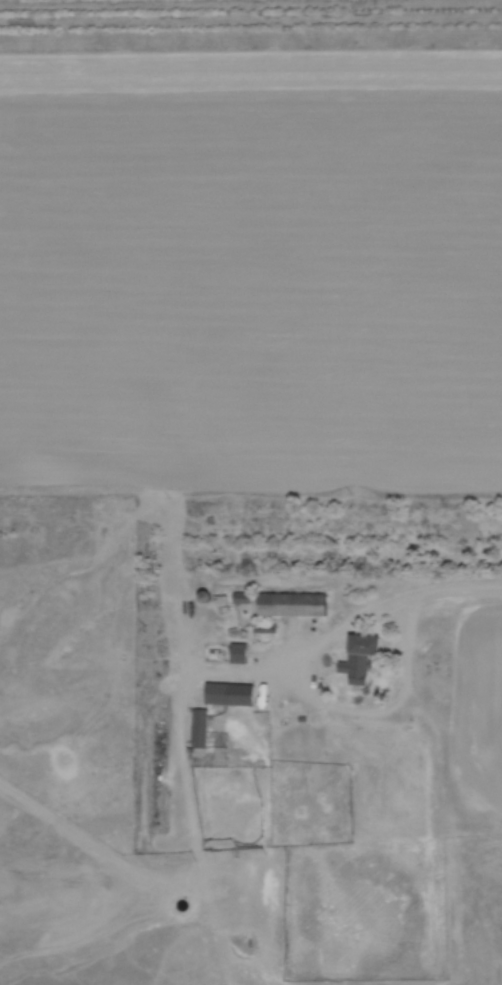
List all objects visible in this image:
crop: (252, 264)
building: (199, 595)
silo: (199, 595)
building: (239, 596)
building: (288, 603)
road: (382, 605)
building: (261, 626)
road: (401, 631)
building: (235, 652)
building: (354, 656)
building: (227, 692)
road: (302, 692)
crop: (476, 700)
building: (195, 726)

